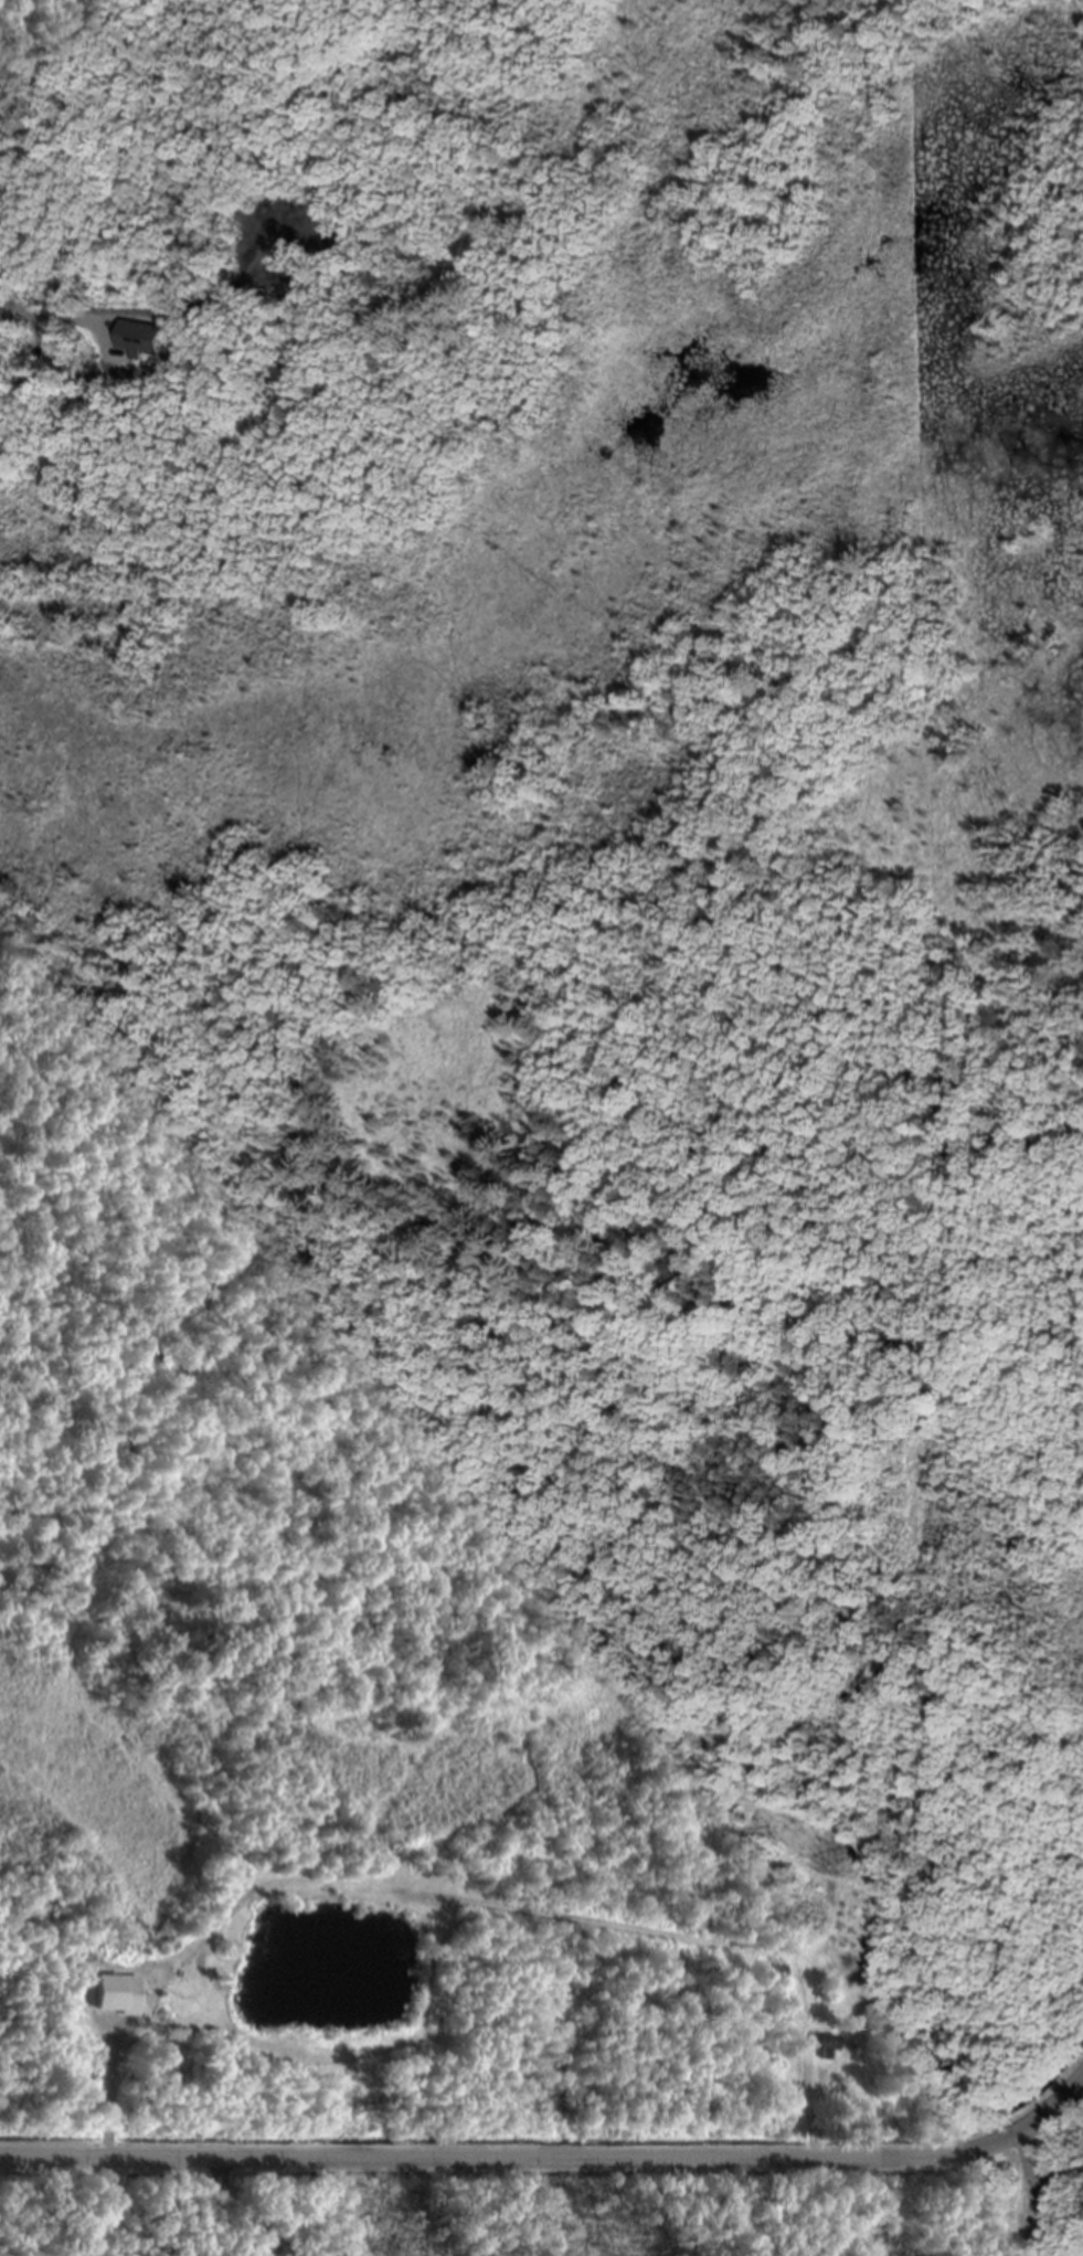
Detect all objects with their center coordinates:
building: (117, 1993)
building: (827, 2043)
road: (556, 2156)
road: (1038, 2167)
road: (235, 2209)

